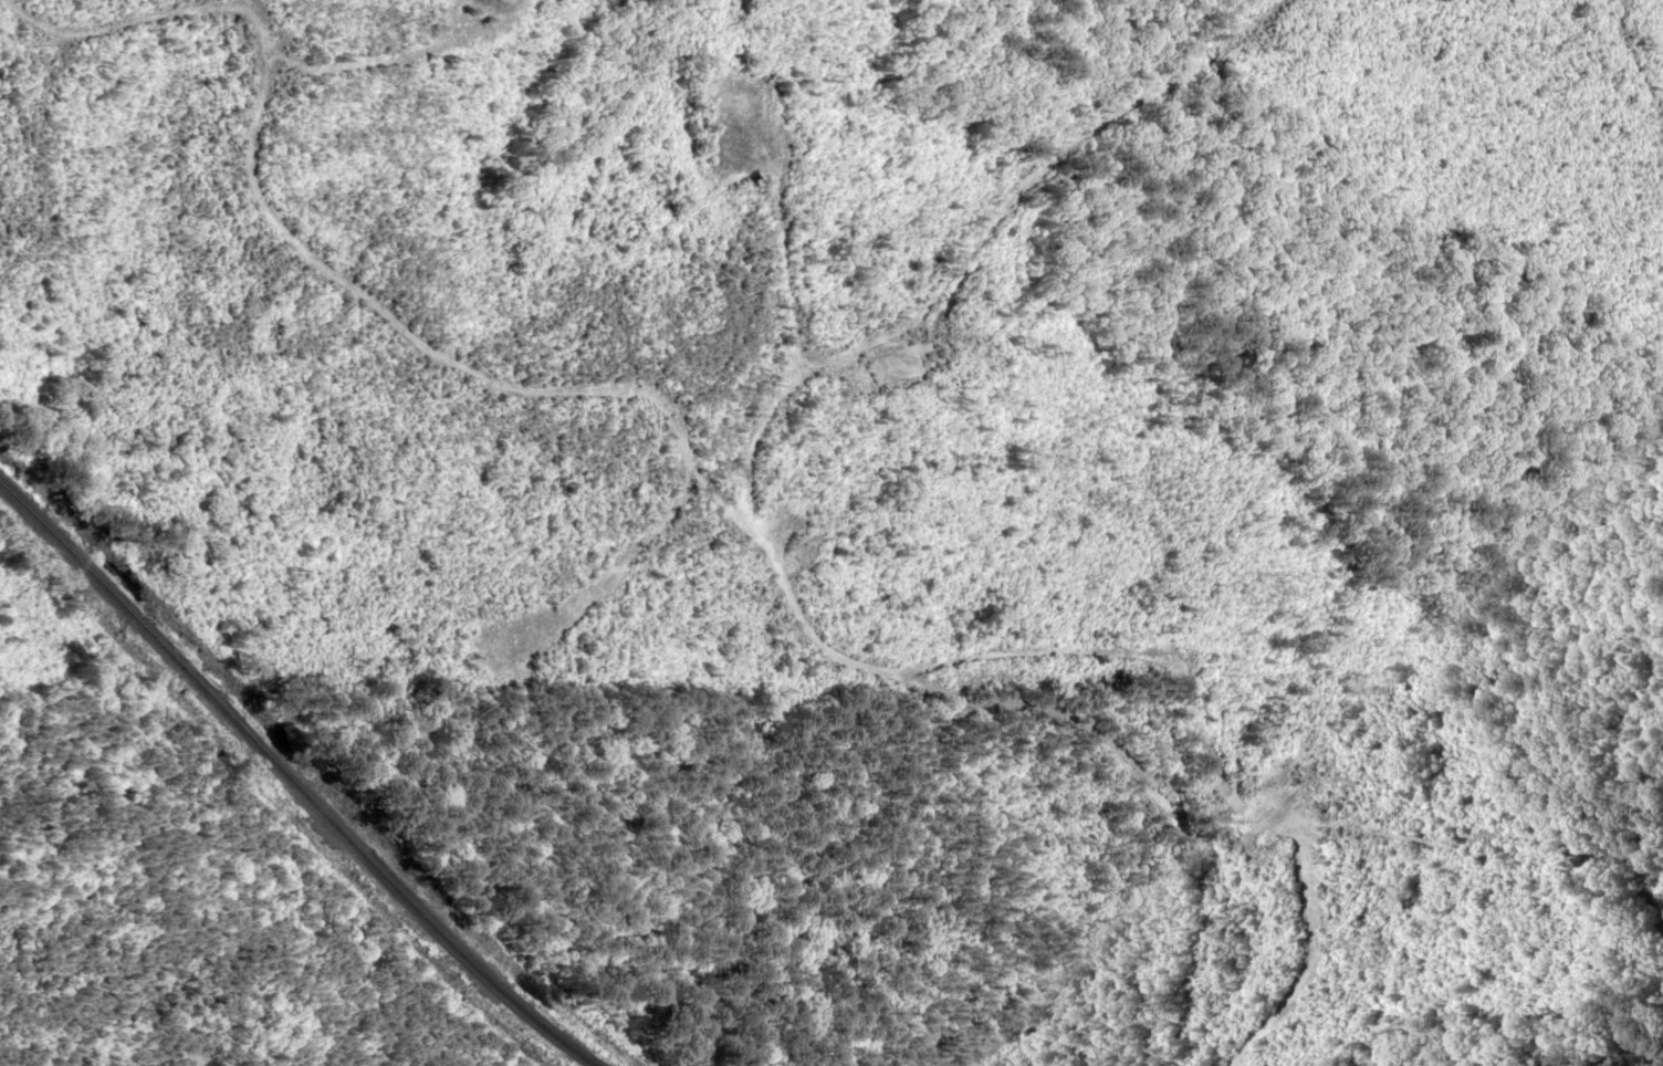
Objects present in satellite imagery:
railway: (291, 778)

